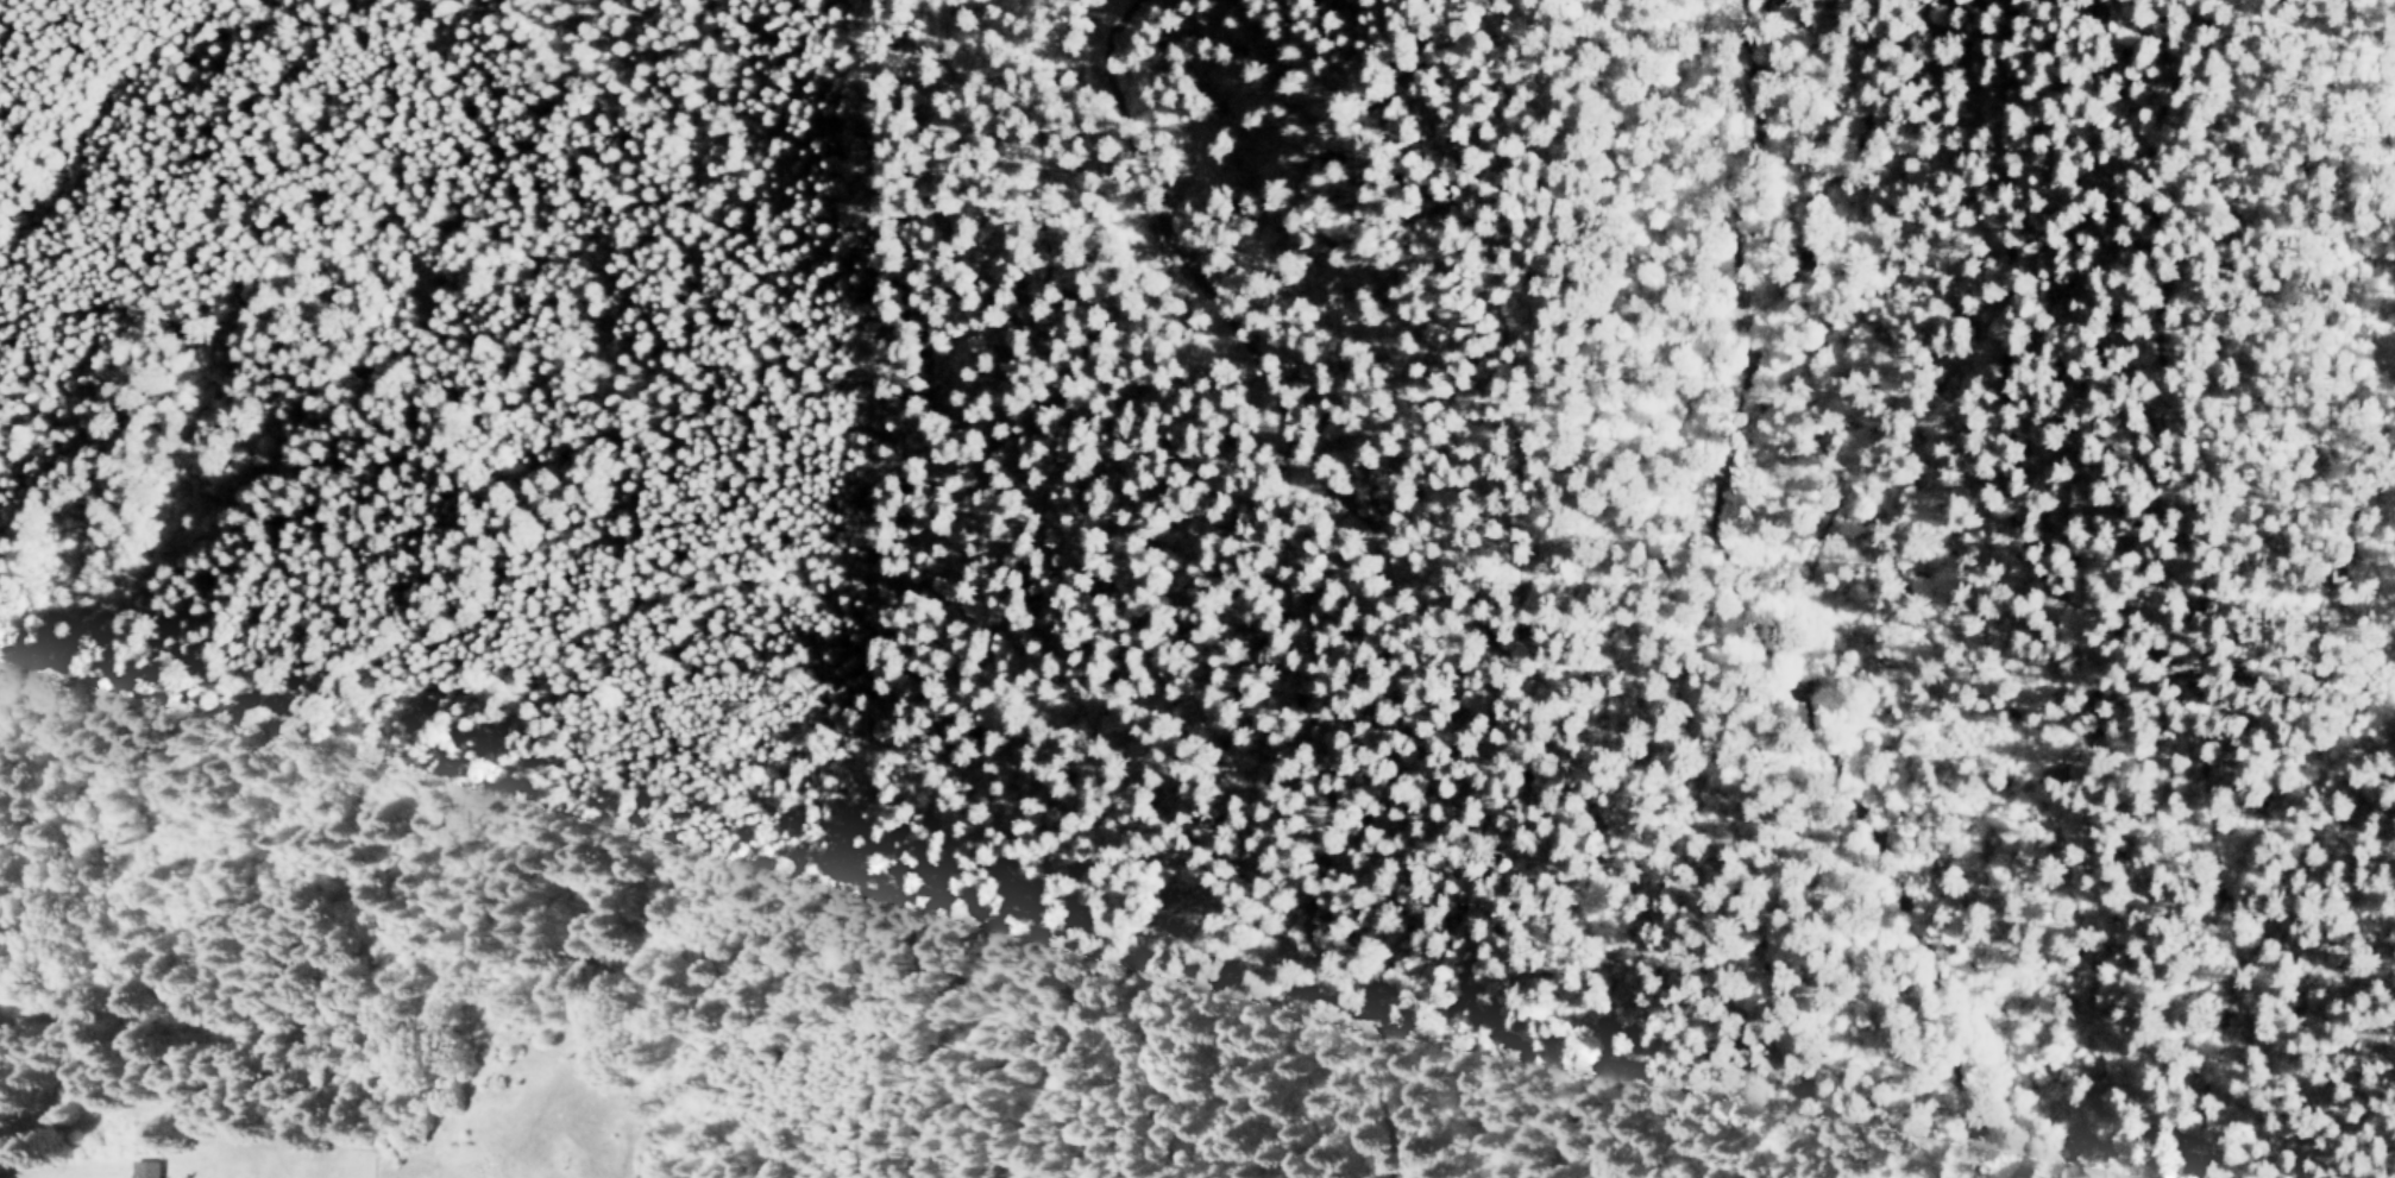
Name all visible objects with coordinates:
building: (146, 1168)

